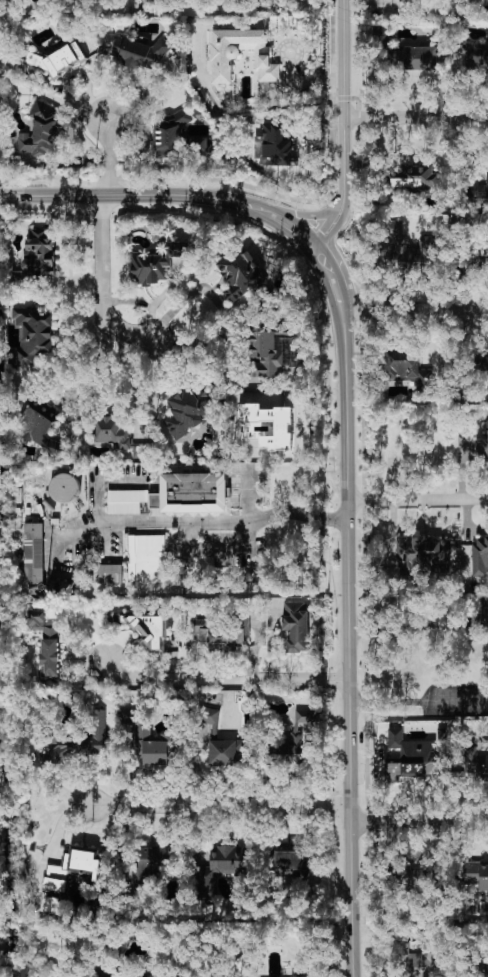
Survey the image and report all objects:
building: (475, 0)
building: (381, 41)
building: (138, 53)
building: (239, 54)
building: (476, 56)
building: (415, 58)
building: (61, 59)
road: (345, 99)
road: (417, 116)
building: (38, 134)
building: (198, 145)
building: (272, 149)
road: (112, 155)
building: (413, 178)
building: (483, 189)
road: (133, 195)
road: (308, 215)
road: (334, 225)
road: (306, 237)
building: (410, 251)
road: (346, 258)
building: (155, 264)
building: (240, 273)
road: (104, 283)
road: (338, 297)
road: (175, 309)
road: (416, 314)
building: (31, 338)
building: (264, 356)
building: (484, 361)
building: (408, 371)
road: (133, 379)
road: (91, 380)
building: (187, 412)
building: (37, 428)
building: (282, 429)
building: (112, 433)
building: (482, 443)
building: (142, 450)
building: (64, 488)
road: (101, 492)
building: (190, 493)
road: (418, 500)
building: (125, 501)
road: (248, 518)
road: (186, 522)
road: (190, 539)
building: (33, 553)
building: (422, 555)
building: (480, 556)
building: (147, 558)
building: (107, 573)
building: (296, 626)
road: (419, 626)
building: (149, 630)
building: (219, 635)
building: (46, 641)
road: (350, 646)
road: (227, 678)
road: (419, 700)
building: (305, 716)
building: (217, 739)
building: (73, 744)
building: (154, 747)
building: (283, 753)
building: (411, 757)
building: (477, 761)
road: (222, 806)
road: (421, 822)
road: (56, 831)
building: (150, 863)
building: (291, 863)
building: (221, 868)
building: (476, 875)
building: (52, 881)
building: (415, 964)
building: (483, 967)
building: (299, 976)

